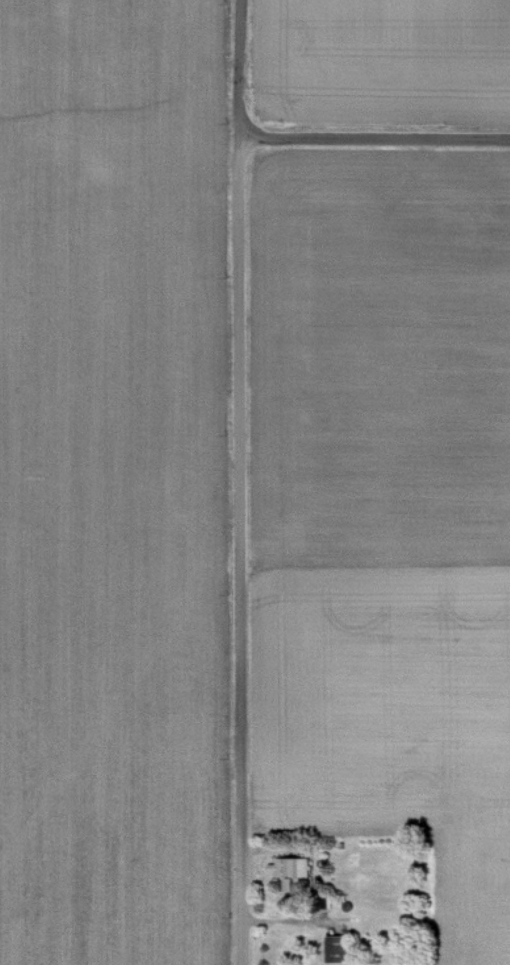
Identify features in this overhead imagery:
road: (376, 138)
road: (242, 482)

